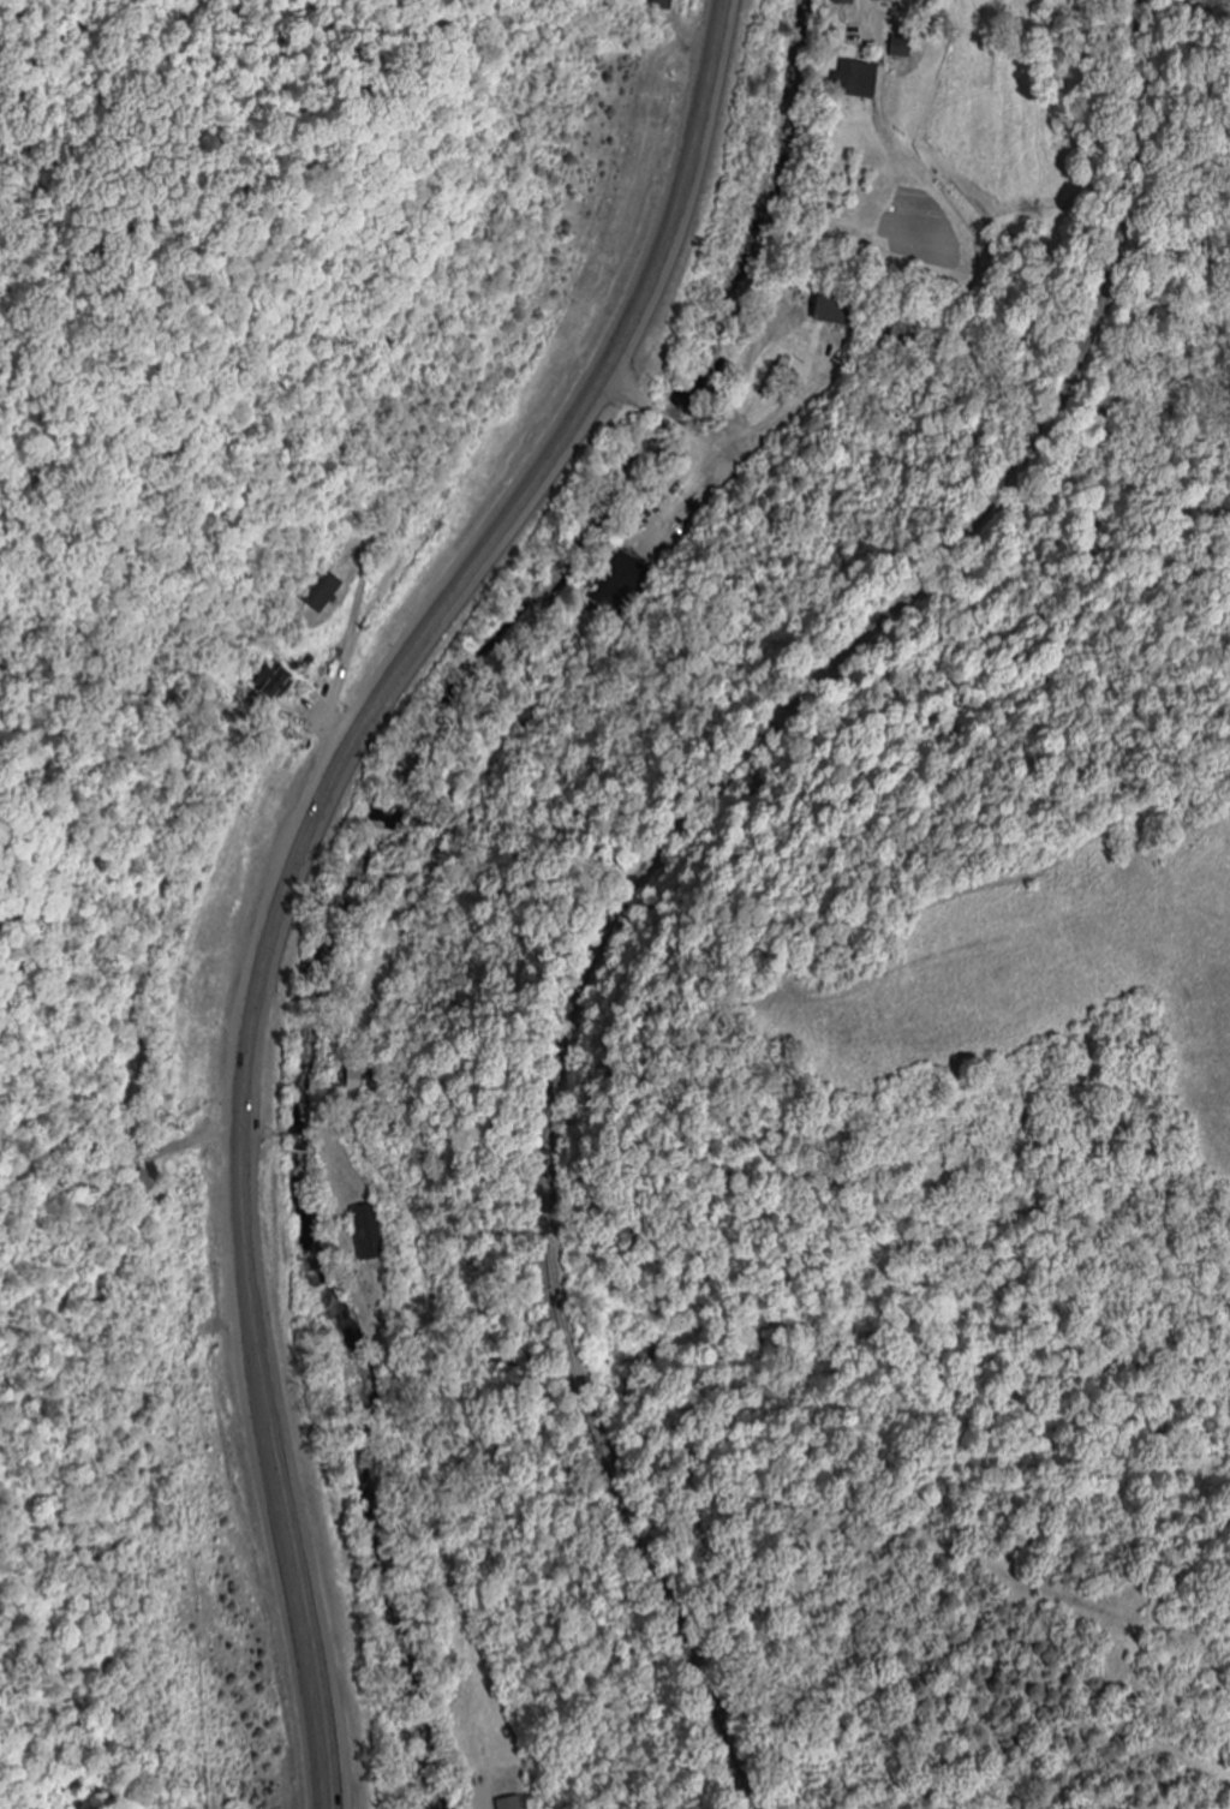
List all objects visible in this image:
road: (870, 18)
road: (713, 47)
road: (623, 390)
road: (668, 422)
road: (727, 424)
road: (698, 441)
building: (615, 583)
road: (364, 722)
railway: (665, 855)
road: (305, 1611)

